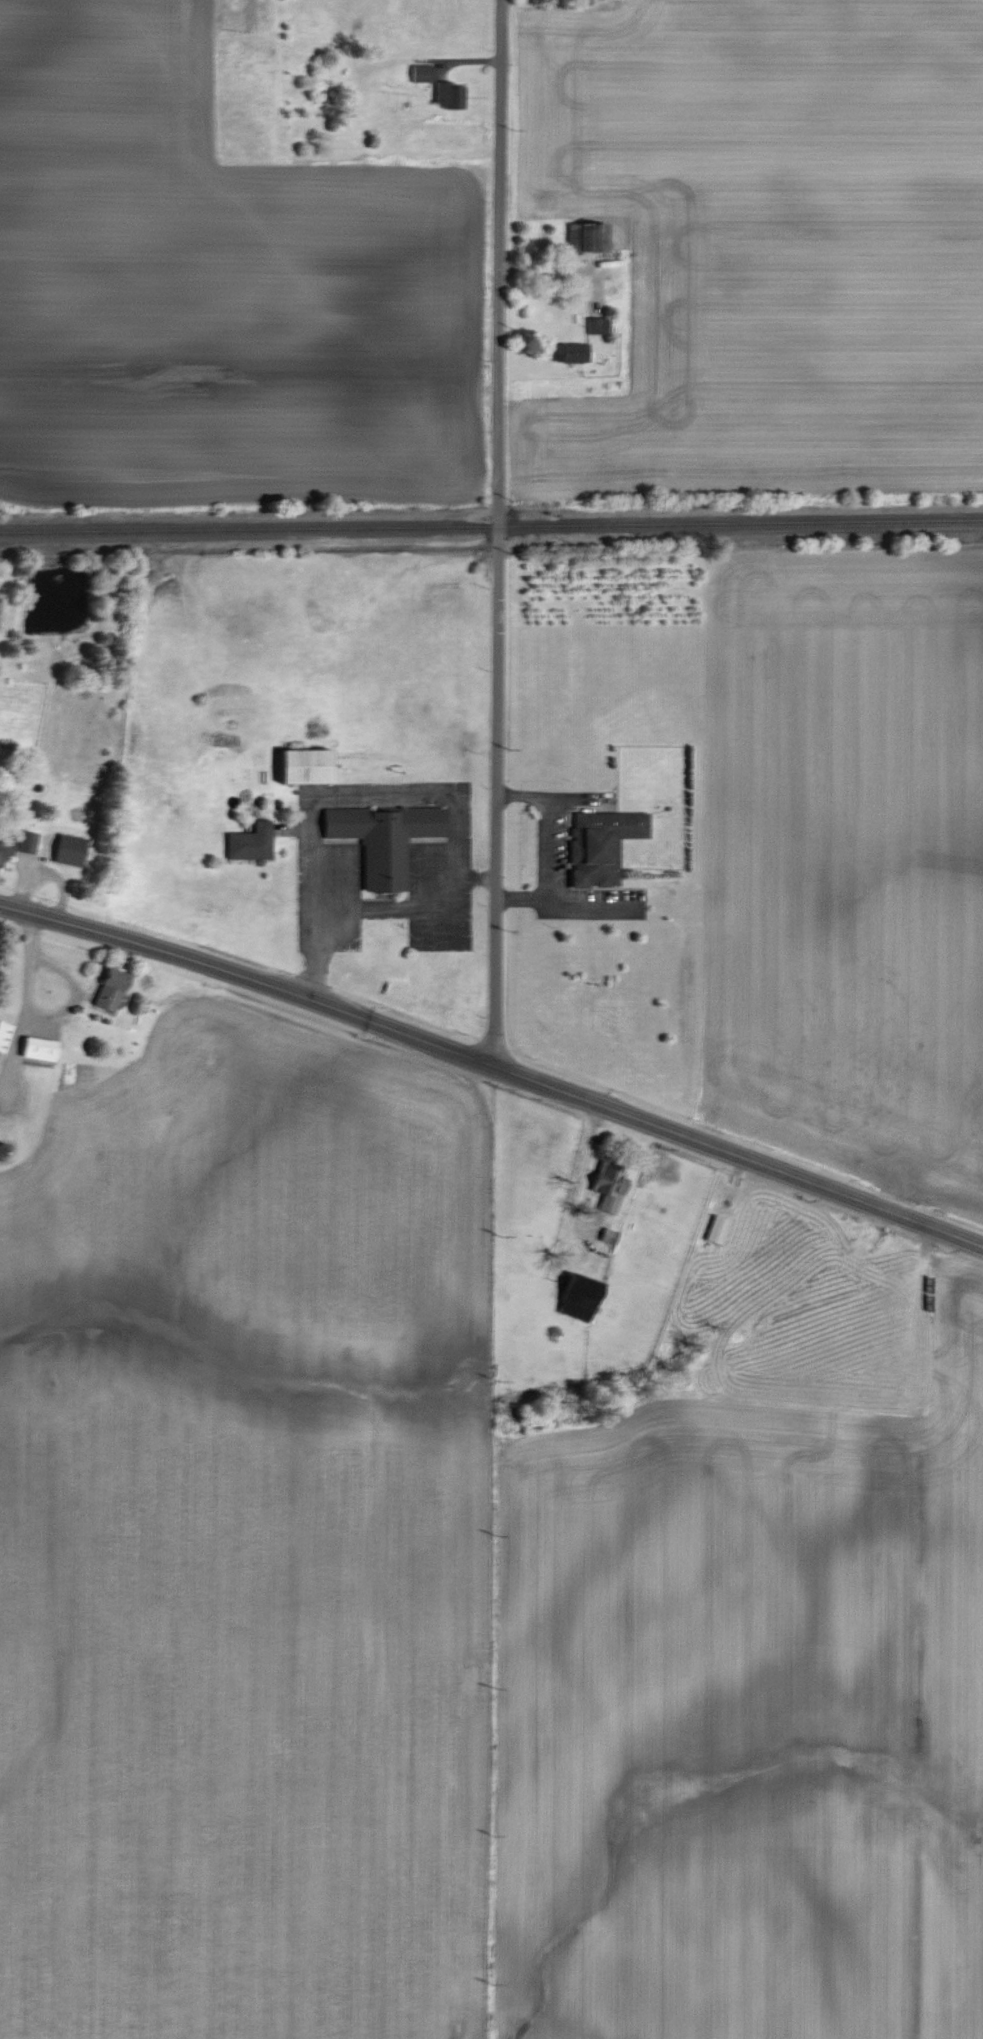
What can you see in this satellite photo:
building: (422, 73)
building: (448, 94)
building: (590, 236)
building: (568, 351)
railway: (491, 528)
road: (498, 533)
building: (304, 766)
road: (335, 793)
road: (526, 795)
building: (383, 840)
building: (26, 842)
building: (250, 843)
building: (601, 846)
building: (68, 850)
road: (543, 857)
road: (396, 908)
road: (566, 910)
building: (110, 989)
building: (4, 1036)
building: (37, 1049)
road: (494, 1066)
building: (607, 1190)
building: (715, 1229)
building: (607, 1236)
building: (578, 1296)

